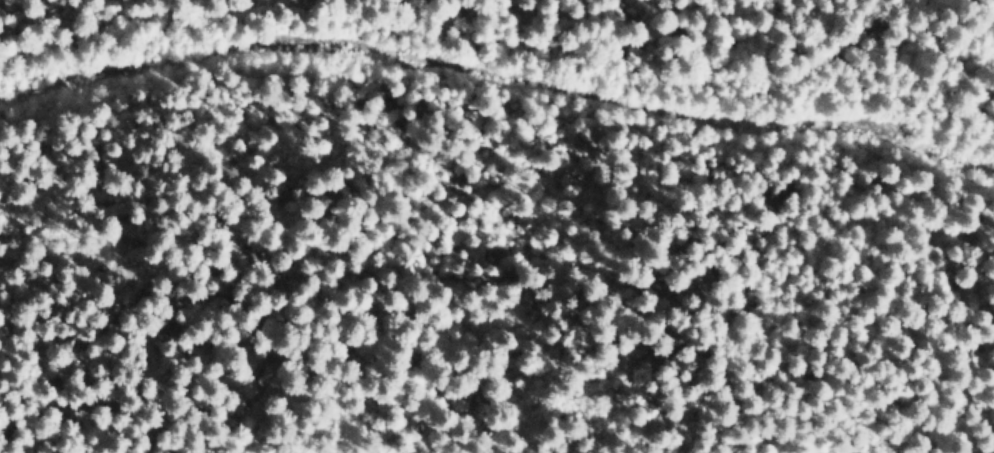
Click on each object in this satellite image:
road: (499, 79)

